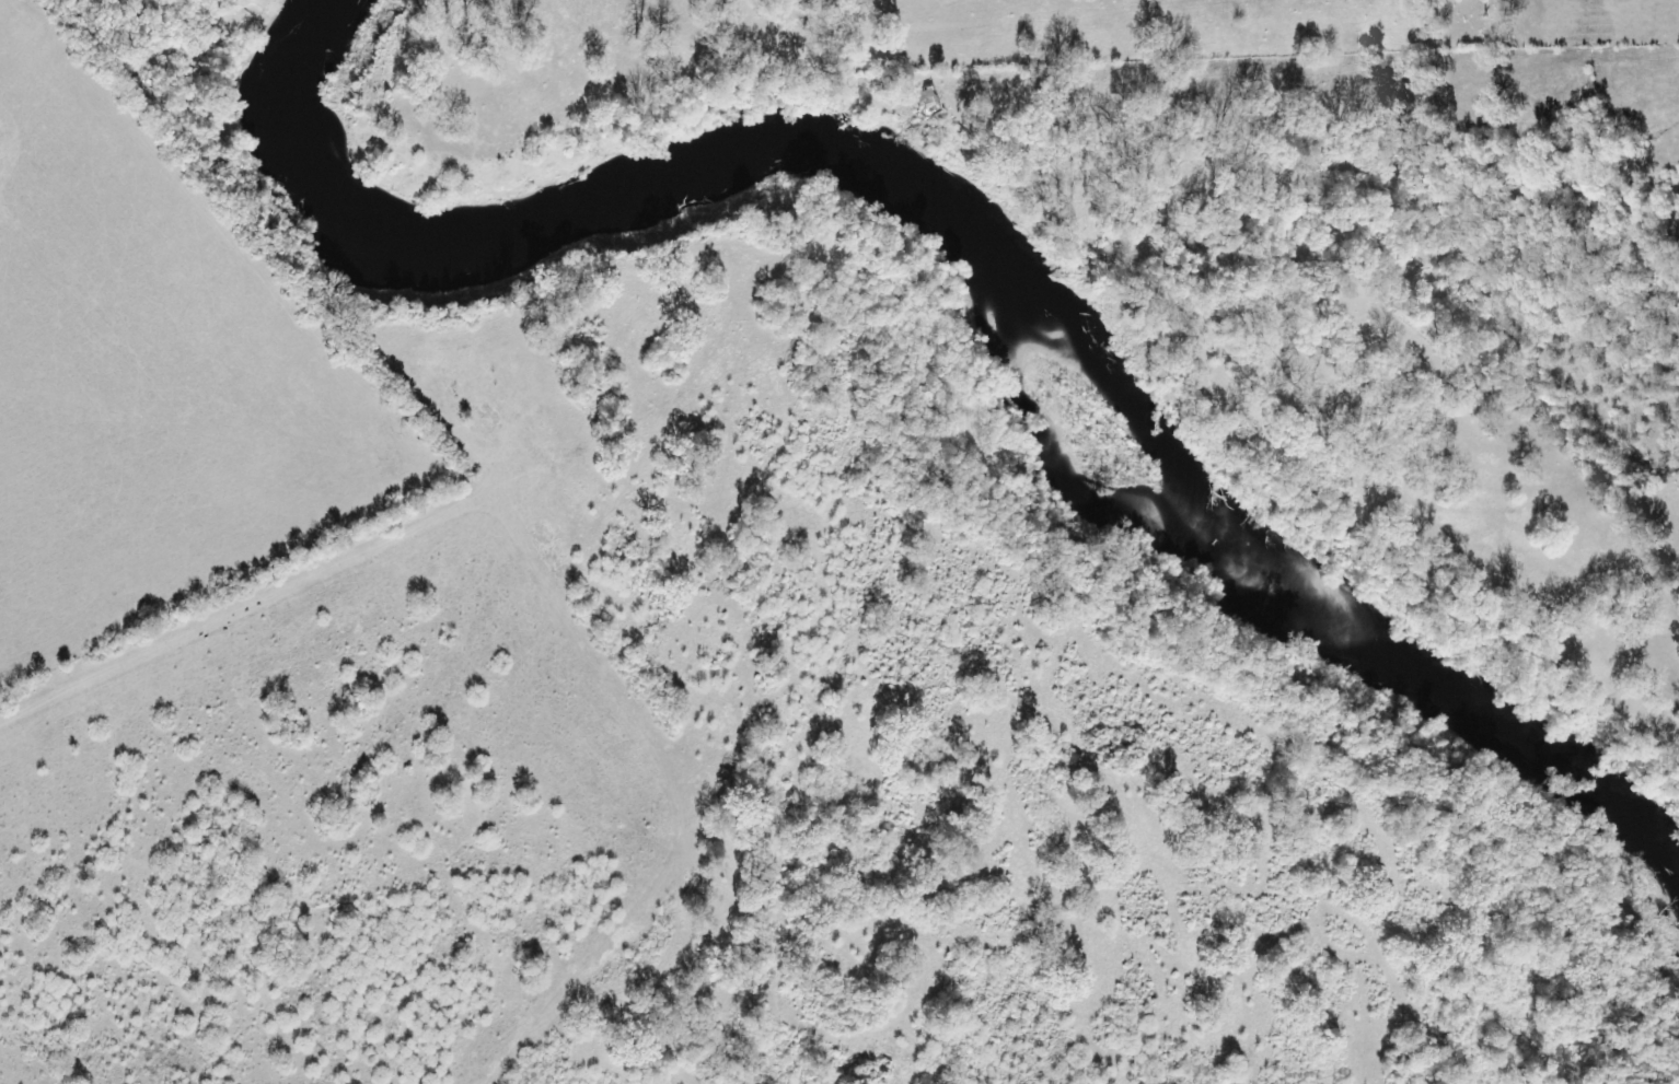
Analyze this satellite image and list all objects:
river: (982, 268)

